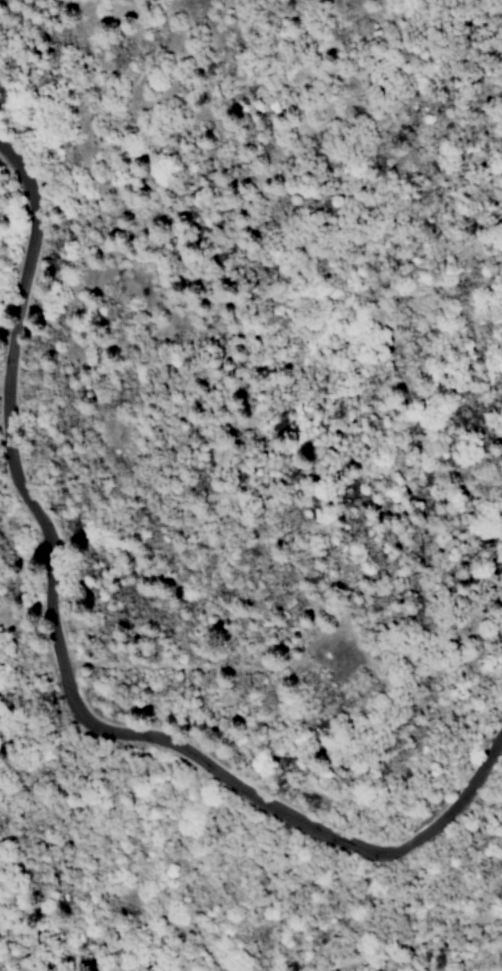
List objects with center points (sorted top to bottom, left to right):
road: (63, 674)

